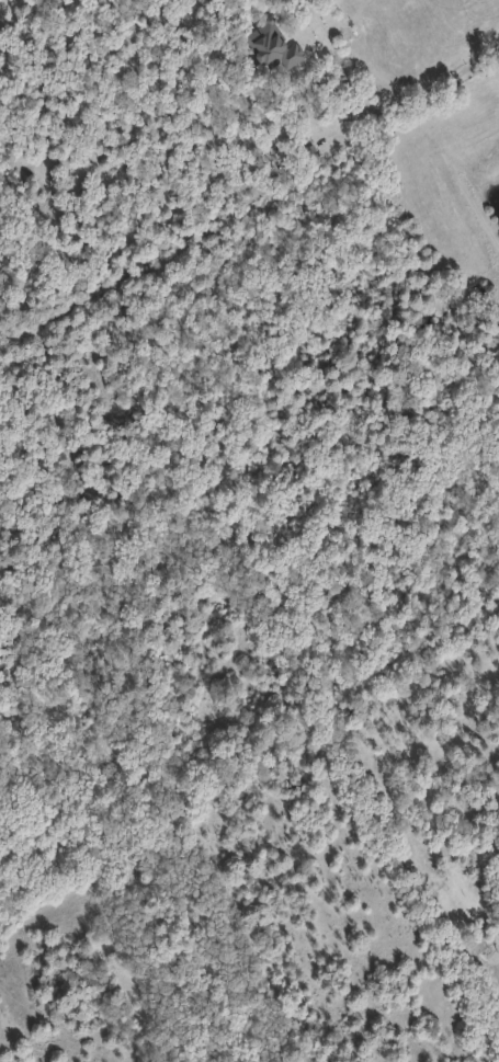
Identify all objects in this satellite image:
building: (274, 46)
road: (431, 85)

